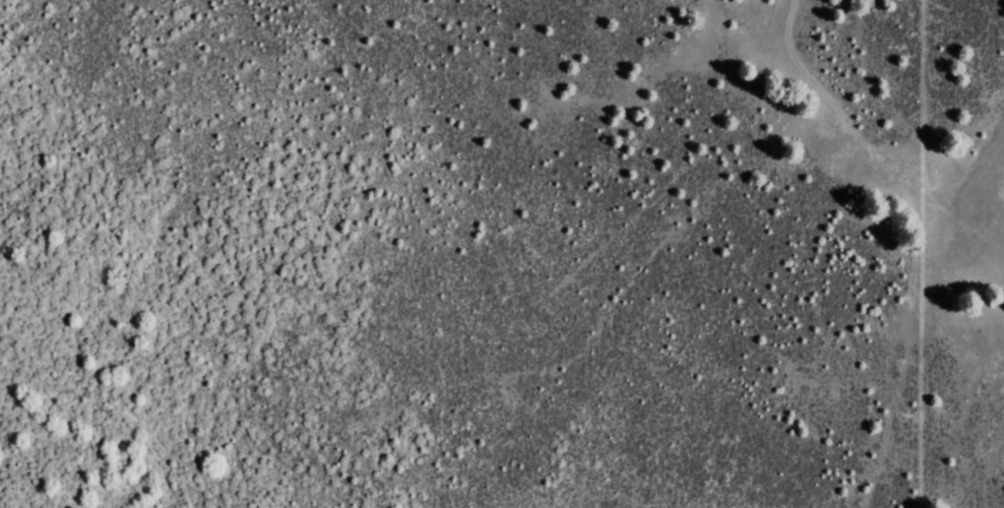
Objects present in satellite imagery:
crop: (976, 316)

